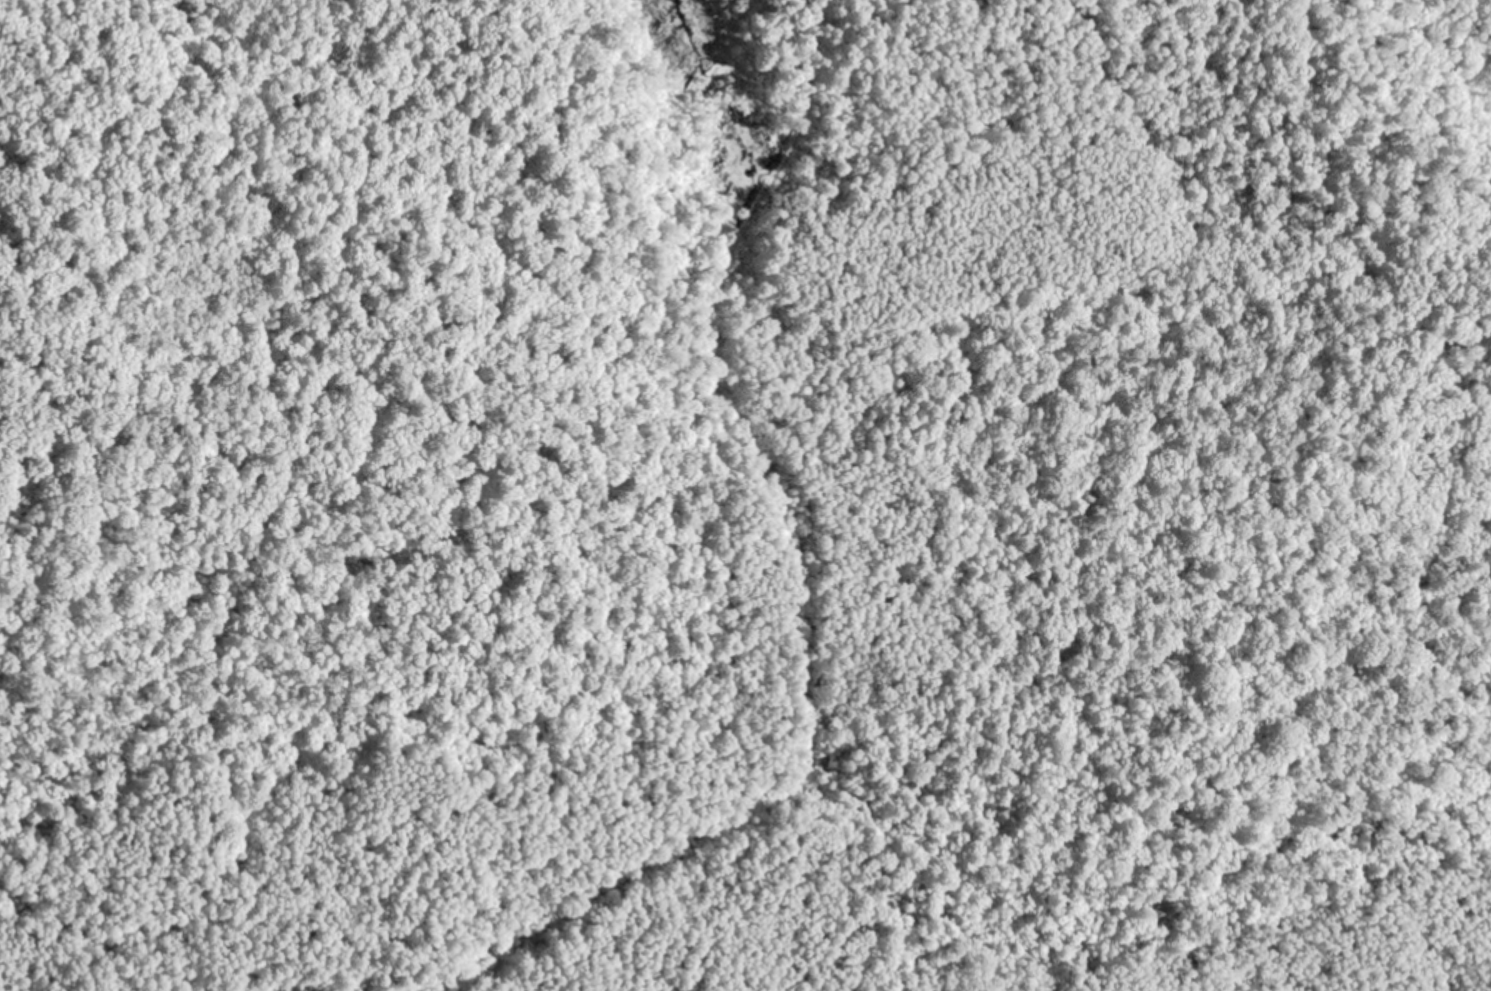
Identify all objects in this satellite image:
road: (1406, 373)
road: (258, 504)
road: (679, 536)
road: (848, 611)
road: (262, 945)

